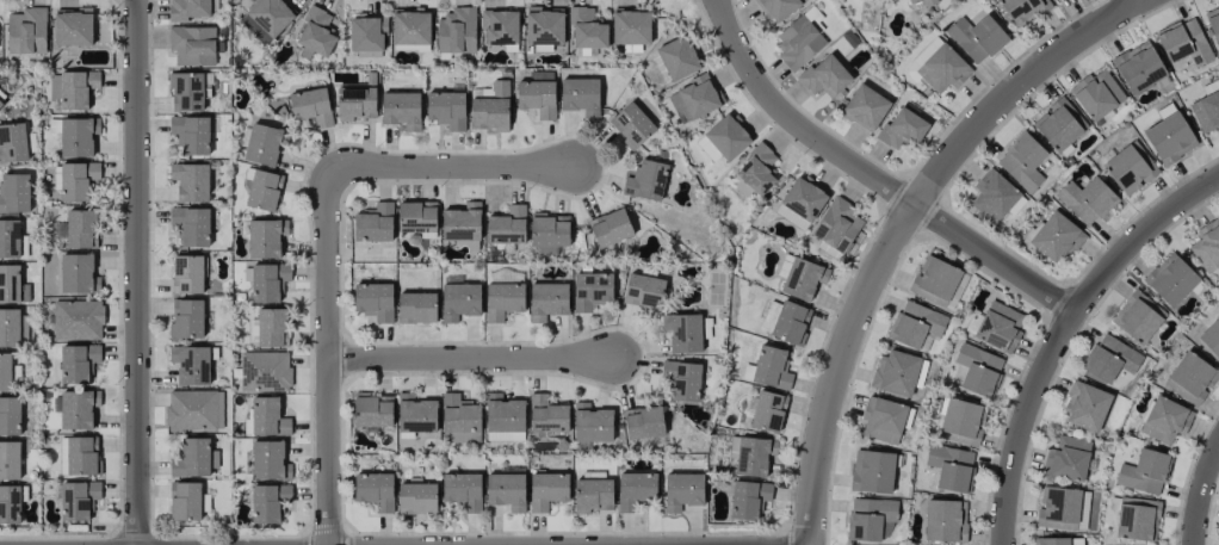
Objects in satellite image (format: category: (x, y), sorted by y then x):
building: (909, 0)
building: (1056, 0)
building: (928, 2)
building: (187, 8)
building: (778, 8)
building: (1023, 10)
building: (268, 17)
building: (1213, 24)
building: (73, 26)
building: (410, 26)
building: (499, 26)
building: (630, 26)
building: (544, 29)
building: (586, 29)
building: (26, 31)
building: (456, 31)
building: (315, 33)
building: (366, 36)
building: (976, 37)
building: (798, 42)
building: (1183, 42)
building: (192, 44)
building: (677, 57)
building: (920, 58)
building: (1138, 67)
building: (943, 69)
building: (824, 76)
building: (73, 87)
building: (186, 92)
building: (537, 93)
building: (1096, 93)
building: (580, 95)
building: (693, 98)
building: (0, 103)
building: (355, 103)
building: (310, 106)
building: (489, 106)
building: (865, 106)
building: (446, 109)
building: (401, 110)
building: (1206, 111)
building: (631, 124)
building: (1058, 125)
building: (902, 128)
building: (190, 134)
building: (78, 136)
building: (1169, 137)
building: (723, 138)
building: (12, 142)
building: (261, 144)
building: (1022, 161)
road: (448, 167)
building: (1128, 169)
building: (753, 173)
road: (872, 176)
building: (76, 179)
building: (645, 180)
building: (190, 181)
building: (264, 190)
building: (14, 193)
building: (992, 196)
building: (1085, 199)
building: (799, 203)
building: (416, 216)
building: (460, 222)
building: (373, 223)
building: (191, 224)
building: (836, 224)
building: (506, 225)
building: (609, 227)
building: (81, 228)
road: (897, 228)
building: (549, 231)
building: (265, 237)
building: (1056, 237)
building: (8, 239)
building: (1207, 246)
road: (136, 272)
building: (78, 273)
building: (187, 274)
building: (800, 277)
building: (1170, 279)
building: (267, 280)
building: (934, 280)
building: (12, 285)
building: (592, 290)
building: (643, 291)
building: (502, 299)
building: (373, 301)
building: (459, 301)
building: (546, 301)
building: (416, 308)
building: (1137, 317)
building: (186, 318)
building: (78, 320)
building: (790, 322)
building: (916, 326)
building: (8, 327)
building: (272, 327)
building: (1000, 327)
building: (682, 332)
road: (1063, 333)
building: (1211, 337)
road: (327, 357)
road: (466, 358)
building: (1109, 359)
building: (78, 363)
building: (191, 364)
building: (771, 367)
building: (977, 370)
building: (5, 371)
building: (265, 371)
building: (895, 372)
building: (1190, 377)
building: (682, 379)
building: (1085, 407)
building: (78, 408)
building: (194, 409)
building: (372, 410)
building: (767, 410)
building: (10, 415)
building: (415, 415)
building: (546, 415)
building: (267, 417)
building: (459, 419)
building: (503, 419)
building: (883, 419)
building: (961, 420)
building: (1165, 420)
building: (643, 421)
building: (592, 423)
building: (750, 454)
building: (78, 456)
building: (191, 458)
building: (1068, 458)
building: (8, 459)
building: (268, 460)
building: (949, 466)
building: (872, 471)
building: (1143, 471)
building: (375, 490)
building: (462, 490)
building: (506, 490)
building: (546, 490)
building: (635, 490)
building: (682, 490)
road: (1199, 491)
building: (592, 495)
building: (416, 497)
building: (78, 498)
building: (748, 498)
building: (184, 501)
building: (267, 502)
building: (10, 503)
building: (1058, 508)
building: (868, 518)
building: (1136, 518)
building: (945, 520)
building: (1059, 540)

